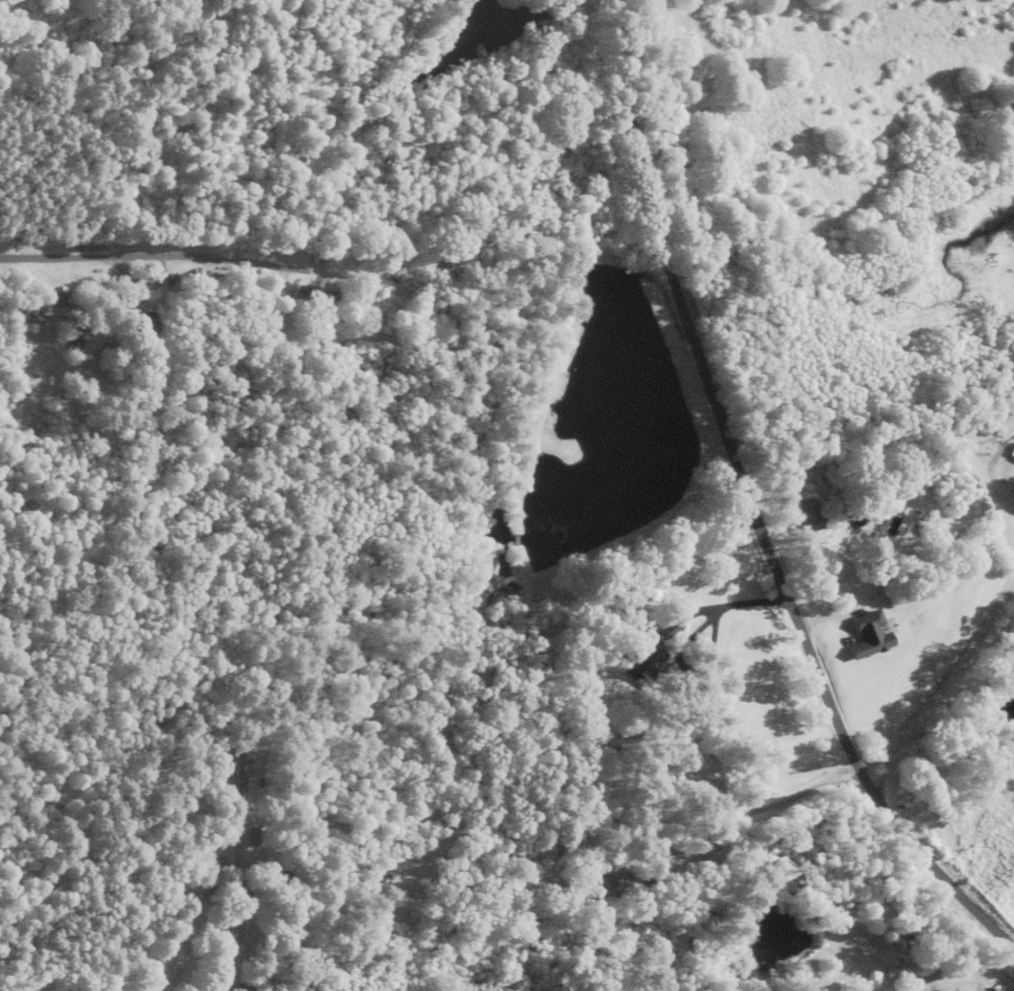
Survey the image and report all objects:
road: (149, 257)
building: (317, 296)
building: (142, 333)
building: (1012, 446)
road: (762, 500)
building: (809, 515)
building: (873, 637)
road: (947, 687)
building: (242, 770)
building: (257, 837)
building: (691, 856)
building: (281, 879)
building: (921, 990)
building: (943, 990)

